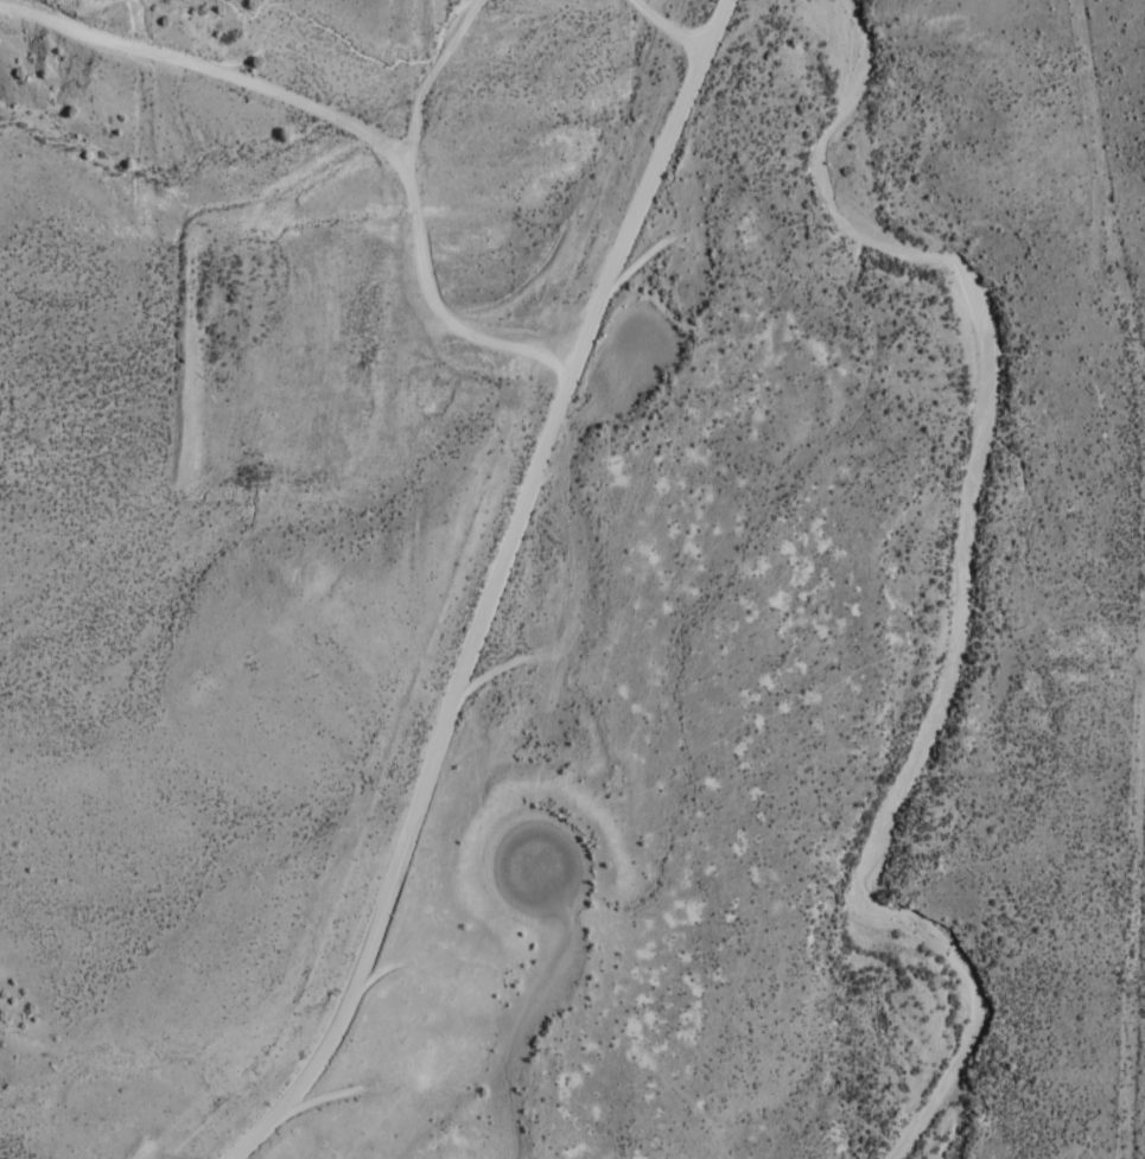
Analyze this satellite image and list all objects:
road: (204, 91)
road: (1101, 104)
road: (654, 176)
road: (408, 205)
road: (208, 317)
road: (549, 354)
river: (947, 573)
road: (1119, 644)
road: (434, 770)

